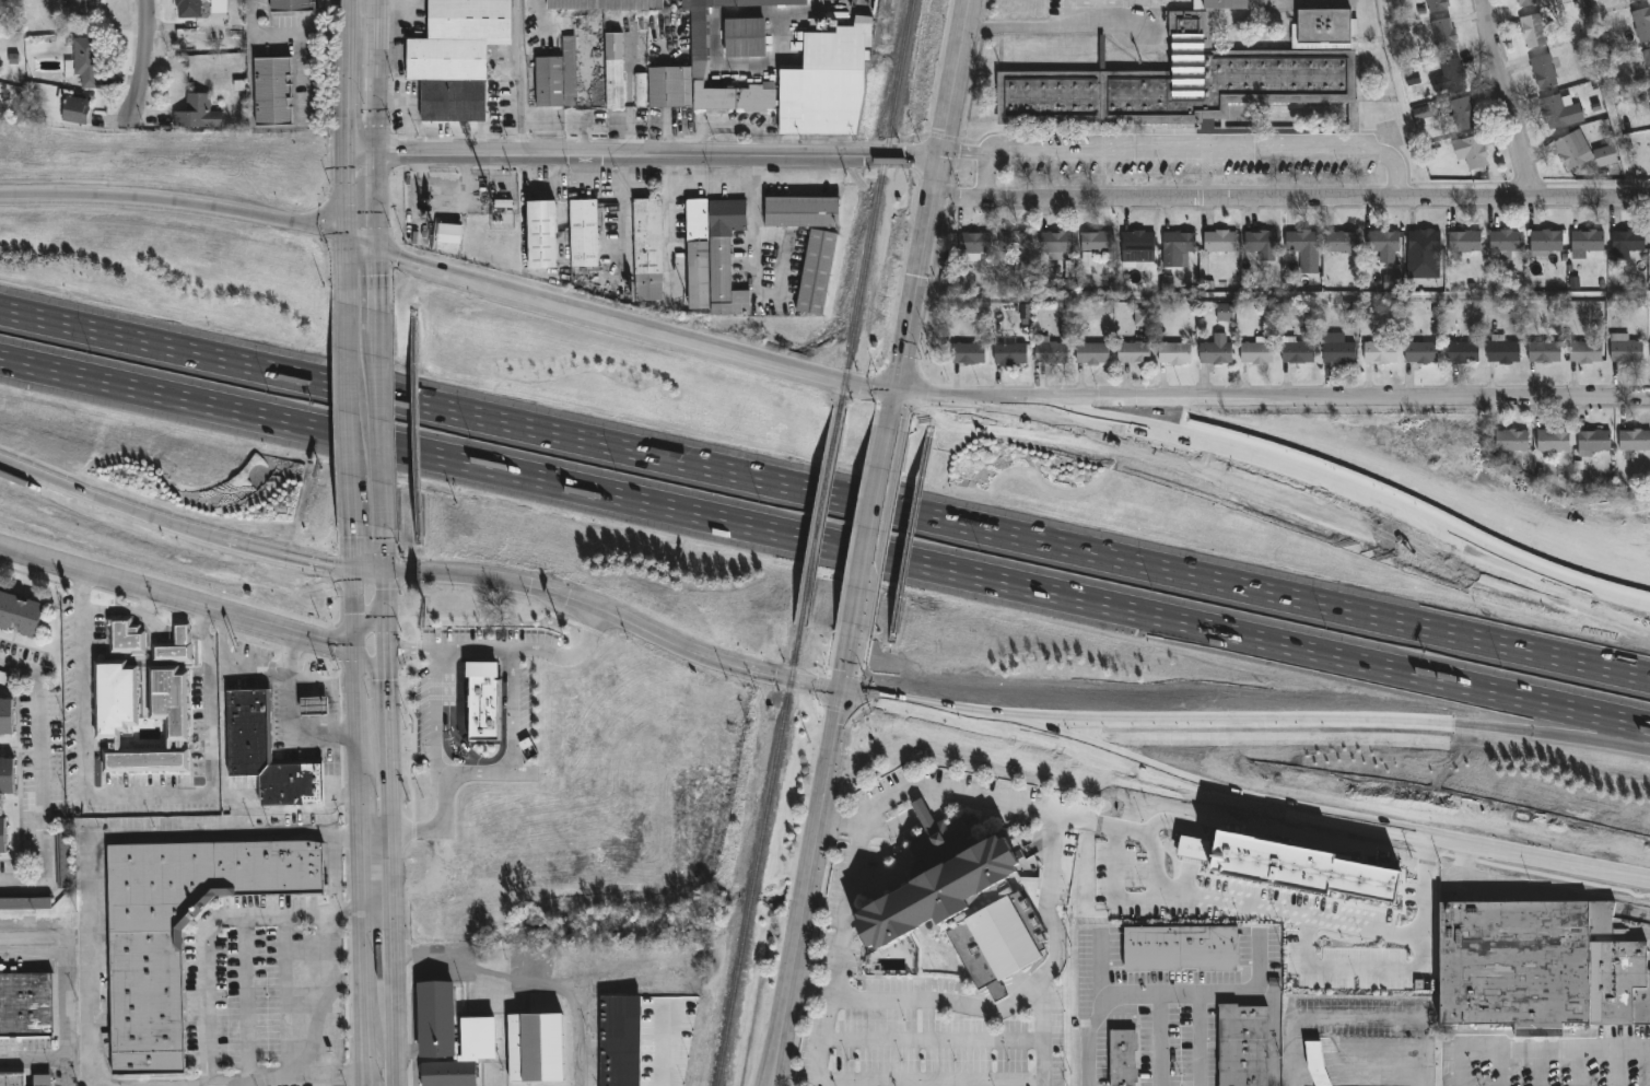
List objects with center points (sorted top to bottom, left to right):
building: (1420, 0)
building: (1631, 0)
building: (1528, 2)
building: (607, 3)
building: (291, 4)
building: (1438, 5)
building: (188, 8)
building: (73, 9)
railway: (851, 10)
building: (1642, 23)
road: (1048, 26)
building: (1535, 30)
building: (699, 34)
building: (1446, 34)
building: (745, 36)
building: (796, 38)
building: (456, 57)
building: (1647, 58)
building: (83, 61)
road: (144, 66)
building: (560, 68)
building: (615, 70)
building: (1544, 71)
building: (1451, 75)
road: (518, 77)
building: (1200, 78)
building: (826, 82)
building: (669, 86)
building: (271, 90)
building: (639, 90)
road: (1517, 97)
building: (72, 106)
building: (1649, 107)
road: (412, 110)
building: (1561, 110)
building: (197, 112)
building: (1463, 113)
building: (1423, 117)
road: (377, 121)
road: (1186, 144)
building: (1573, 149)
building: (1472, 151)
road: (343, 152)
traffic signals: (343, 153)
traffic signals: (377, 154)
road: (642, 154)
building: (1606, 154)
road: (985, 177)
road: (1291, 196)
road: (174, 201)
railway: (876, 205)
building: (801, 211)
road: (932, 214)
building: (584, 232)
building: (448, 233)
building: (539, 233)
traffic signals: (344, 238)
building: (1588, 240)
building: (1016, 241)
building: (1097, 241)
building: (1220, 241)
building: (1262, 241)
building: (1343, 241)
building: (1383, 241)
building: (1465, 241)
building: (974, 243)
building: (1056, 243)
building: (1546, 243)
building: (1627, 243)
traffic signals: (378, 244)
building: (1505, 244)
building: (1137, 247)
building: (1179, 248)
road: (397, 249)
building: (647, 249)
building: (1303, 249)
building: (698, 254)
building: (1424, 254)
building: (725, 257)
building: (1086, 259)
building: (1069, 269)
building: (816, 271)
road: (377, 277)
building: (1392, 282)
building: (1168, 283)
building: (1225, 312)
building: (1025, 315)
building: (1142, 318)
road: (377, 323)
road: (674, 328)
road: (163, 346)
building: (1337, 348)
building: (1625, 348)
building: (1216, 350)
building: (1503, 350)
building: (1051, 351)
building: (1257, 351)
building: (1463, 351)
building: (1545, 351)
building: (1585, 351)
building: (969, 352)
building: (1092, 352)
building: (1134, 352)
building: (1298, 352)
building: (1380, 352)
building: (1420, 352)
building: (1010, 353)
building: (1174, 353)
road: (376, 394)
road: (161, 395)
traffic signals: (897, 397)
road: (1304, 400)
road: (350, 412)
road: (381, 431)
building: (1512, 440)
building: (1635, 440)
building: (1552, 441)
building: (1595, 441)
road: (374, 442)
road: (1283, 470)
road: (104, 500)
railway: (819, 518)
road: (873, 526)
road: (1038, 541)
road: (354, 546)
road: (283, 554)
traffic signals: (355, 571)
traffic signals: (385, 571)
road: (385, 583)
road: (1038, 589)
road: (555, 593)
road: (1565, 597)
road: (192, 603)
building: (20, 614)
road: (147, 620)
road: (196, 631)
road: (182, 634)
building: (126, 638)
traffic signals: (388, 640)
traffic signals: (354, 642)
building: (174, 646)
road: (508, 649)
road: (850, 658)
road: (355, 678)
road: (794, 679)
road: (388, 686)
road: (333, 688)
traffic signals: (844, 692)
building: (115, 696)
road: (874, 700)
building: (484, 702)
road: (512, 703)
building: (313, 707)
road: (440, 710)
building: (5, 716)
road: (286, 717)
road: (1194, 723)
road: (1568, 737)
building: (266, 755)
road: (479, 770)
building: (7, 775)
road: (42, 778)
road: (389, 781)
road: (128, 795)
road: (973, 797)
road: (359, 809)
road: (1272, 814)
road: (441, 822)
road: (1170, 822)
road: (375, 832)
building: (2, 837)
building: (1194, 848)
road: (1193, 850)
road: (1155, 852)
road: (90, 853)
railway: (758, 855)
building: (65, 860)
building: (1301, 868)
road: (335, 873)
road: (1186, 884)
road: (809, 889)
building: (25, 903)
building: (961, 906)
road: (376, 912)
road: (391, 913)
road: (1263, 914)
building: (177, 931)
building: (1181, 949)
road: (363, 955)
road: (207, 960)
building: (1518, 965)
road: (1100, 966)
road: (1354, 969)
road: (63, 971)
road: (527, 979)
building: (1617, 983)
road: (1255, 988)
road: (810, 991)
parking lot: (262, 994)
road: (325, 997)
road: (1151, 997)
road: (284, 999)
road: (246, 1000)
road: (936, 1004)
building: (24, 1005)
road: (1358, 1018)
building: (436, 1019)
road: (393, 1040)
building: (619, 1040)
road: (1159, 1041)
road: (667, 1046)
building: (1243, 1046)
road: (1536, 1048)
building: (534, 1049)
building: (465, 1055)
parking lot: (25, 1058)
building: (1123, 1059)
road: (46, 1060)
building: (1317, 1064)
road: (1538, 1066)
road: (1579, 1066)
road: (1618, 1066)
road: (1498, 1067)
parking lot: (1536, 1070)
road: (300, 1079)
building: (11, 1081)
building: (42, 1081)
road: (936, 1081)
road: (366, 1082)
road: (224, 1083)
road: (326, 1083)
road: (1044, 1083)

